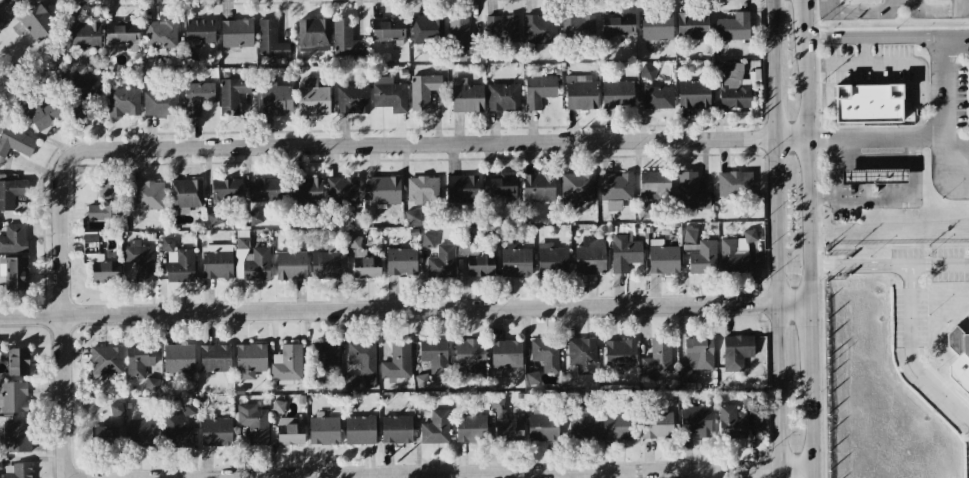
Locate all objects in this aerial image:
building: (7, 1)
road: (962, 5)
road: (965, 10)
road: (932, 11)
road: (801, 12)
road: (859, 12)
building: (38, 23)
building: (617, 24)
building: (692, 25)
building: (577, 26)
building: (656, 26)
building: (732, 27)
building: (387, 28)
building: (427, 28)
building: (501, 29)
building: (539, 30)
building: (198, 31)
building: (121, 33)
building: (236, 33)
building: (160, 34)
building: (84, 35)
building: (313, 35)
building: (462, 36)
building: (345, 39)
building: (270, 40)
road: (885, 40)
road: (905, 62)
building: (732, 86)
road: (943, 88)
building: (423, 91)
building: (538, 91)
building: (580, 92)
building: (616, 93)
building: (389, 94)
building: (693, 94)
building: (232, 95)
building: (81, 96)
building: (466, 96)
building: (197, 97)
building: (503, 97)
building: (658, 97)
building: (313, 98)
building: (275, 99)
building: (352, 99)
building: (123, 101)
building: (160, 103)
building: (867, 103)
building: (42, 113)
road: (910, 137)
building: (15, 142)
road: (467, 143)
road: (956, 154)
road: (805, 162)
building: (874, 176)
building: (734, 183)
building: (654, 184)
building: (499, 185)
building: (538, 187)
building: (462, 188)
building: (576, 188)
building: (422, 189)
building: (616, 189)
building: (226, 190)
building: (265, 190)
building: (306, 190)
building: (342, 190)
building: (384, 190)
building: (10, 192)
building: (690, 192)
building: (185, 194)
building: (147, 195)
road: (890, 199)
building: (105, 204)
building: (412, 216)
building: (254, 217)
building: (216, 219)
building: (13, 239)
road: (772, 239)
building: (427, 240)
building: (690, 248)
building: (735, 252)
building: (624, 253)
street lamp: (869, 256)
building: (589, 258)
building: (703, 258)
building: (475, 259)
building: (551, 259)
building: (663, 259)
building: (140, 260)
building: (251, 260)
building: (363, 260)
building: (217, 261)
building: (401, 261)
building: (178, 262)
building: (442, 262)
building: (515, 262)
building: (291, 265)
building: (326, 265)
road: (887, 265)
building: (104, 271)
building: (14, 272)
road: (64, 287)
road: (403, 310)
street lamp: (928, 316)
road: (807, 325)
building: (959, 342)
building: (0, 350)
building: (736, 351)
building: (620, 352)
building: (506, 353)
building: (699, 353)
road: (910, 353)
building: (434, 354)
building: (545, 354)
building: (582, 355)
building: (469, 356)
building: (326, 357)
building: (362, 357)
building: (178, 358)
building: (215, 358)
building: (657, 358)
building: (250, 360)
building: (138, 361)
building: (397, 361)
building: (105, 362)
building: (287, 364)
street lamp: (959, 383)
building: (13, 397)
building: (278, 406)
building: (115, 409)
road: (809, 413)
building: (695, 420)
building: (584, 421)
building: (505, 422)
building: (731, 422)
building: (253, 423)
building: (657, 424)
building: (617, 426)
building: (542, 427)
building: (435, 428)
building: (470, 428)
building: (396, 429)
building: (323, 430)
building: (359, 430)
building: (289, 431)
building: (143, 432)
building: (176, 432)
building: (216, 432)
building: (107, 434)
building: (16, 436)
building: (0, 466)
building: (19, 471)
road: (568, 474)

